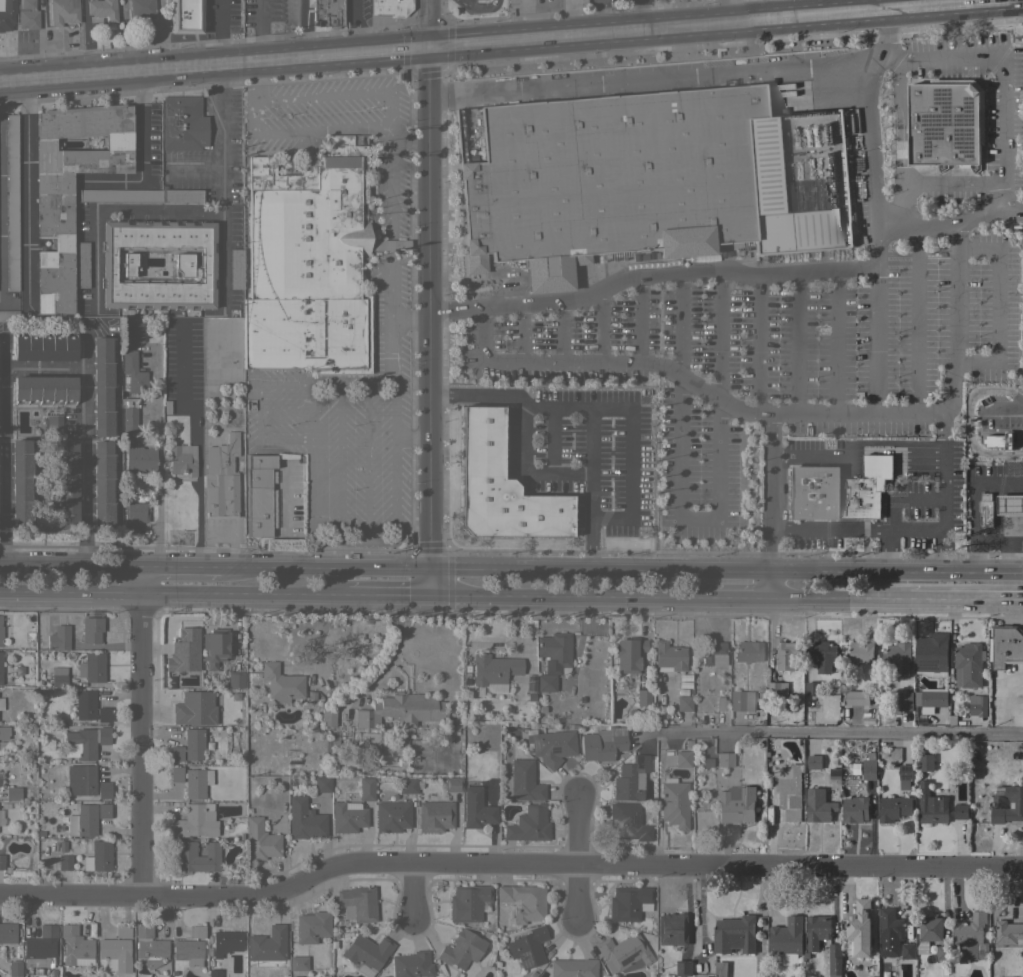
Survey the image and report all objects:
road: (890, 1)
road: (771, 5)
building: (390, 7)
road: (720, 7)
building: (102, 9)
building: (141, 9)
building: (62, 12)
building: (327, 12)
building: (7, 14)
building: (27, 14)
road: (719, 15)
building: (186, 16)
road: (356, 21)
road: (300, 23)
road: (263, 25)
road: (219, 27)
road: (500, 31)
traffic signals: (432, 36)
road: (366, 41)
road: (150, 59)
road: (1002, 73)
road: (255, 76)
road: (654, 79)
road: (391, 97)
road: (220, 112)
building: (183, 123)
building: (945, 123)
road: (307, 128)
road: (410, 142)
road: (901, 144)
road: (139, 151)
road: (193, 170)
building: (607, 179)
road: (954, 182)
road: (26, 186)
building: (70, 187)
building: (180, 194)
building: (118, 195)
building: (780, 200)
building: (11, 203)
road: (108, 211)
rooftop solar panel: (131, 222)
rooftop solar panel: (146, 222)
rooftop solar panel: (161, 223)
rooftop solar panel: (179, 223)
rooftop solar panel: (199, 223)
road: (950, 223)
road: (221, 235)
road: (389, 244)
building: (309, 262)
building: (81, 264)
building: (109, 264)
building: (236, 268)
road: (781, 274)
road: (430, 283)
road: (390, 284)
road: (13, 302)
road: (999, 307)
building: (9, 315)
road: (638, 318)
road: (410, 319)
road: (915, 321)
road: (678, 325)
road: (600, 326)
building: (132, 331)
road: (560, 331)
road: (521, 332)
parking lot: (388, 333)
road: (720, 336)
road: (876, 339)
road: (835, 342)
road: (798, 343)
road: (758, 344)
building: (44, 348)
road: (391, 350)
road: (955, 362)
road: (43, 369)
building: (133, 372)
road: (687, 382)
road: (326, 383)
building: (101, 386)
building: (44, 388)
road: (392, 390)
road: (473, 395)
road: (996, 406)
road: (1022, 406)
road: (313, 410)
road: (258, 411)
road: (286, 411)
building: (129, 415)
road: (632, 423)
building: (53, 424)
road: (411, 437)
road: (554, 440)
building: (992, 440)
road: (198, 441)
road: (84, 448)
road: (2, 449)
road: (901, 451)
road: (158, 453)
road: (974, 454)
road: (815, 455)
building: (139, 459)
building: (182, 459)
road: (367, 461)
road: (340, 462)
road: (590, 462)
road: (393, 464)
road: (524, 467)
road: (1012, 471)
building: (221, 478)
building: (21, 483)
building: (67, 484)
building: (102, 485)
road: (997, 485)
road: (314, 486)
building: (500, 486)
building: (837, 490)
building: (259, 494)
road: (900, 501)
road: (767, 505)
building: (997, 507)
road: (972, 514)
road: (945, 515)
building: (133, 516)
road: (685, 517)
road: (827, 529)
road: (384, 541)
road: (591, 543)
road: (989, 543)
road: (946, 550)
road: (888, 551)
road: (70, 564)
road: (148, 565)
road: (187, 565)
road: (324, 566)
traffic signals: (429, 567)
road: (726, 569)
road: (140, 581)
road: (428, 581)
road: (373, 594)
road: (70, 595)
road: (243, 595)
road: (414, 595)
traffic signals: (428, 595)
road: (570, 596)
road: (739, 599)
road: (836, 600)
road: (964, 601)
building: (0, 629)
building: (91, 629)
building: (58, 637)
building: (1005, 645)
building: (214, 646)
building: (183, 650)
road: (394, 650)
building: (748, 651)
building: (861, 651)
building: (555, 652)
building: (714, 653)
building: (628, 654)
building: (931, 654)
building: (785, 655)
building: (668, 656)
building: (822, 656)
building: (897, 657)
rooftop solar panel: (927, 663)
building: (0, 665)
building: (968, 665)
building: (91, 666)
building: (493, 668)
building: (58, 676)
building: (546, 682)
building: (281, 683)
building: (777, 688)
building: (812, 689)
building: (643, 697)
building: (857, 698)
building: (930, 699)
building: (741, 700)
building: (683, 701)
building: (905, 701)
building: (1, 703)
building: (721, 703)
building: (89, 706)
building: (977, 706)
building: (193, 708)
building: (400, 709)
building: (327, 717)
building: (4, 736)
road: (789, 740)
building: (85, 741)
building: (194, 743)
building: (602, 743)
road: (142, 744)
rooftop solar panel: (534, 746)
building: (552, 747)
rooftop solar panel: (553, 750)
building: (176, 752)
building: (682, 758)
building: (725, 759)
building: (813, 762)
building: (926, 762)
rooftop solar panel: (906, 768)
building: (869, 769)
building: (176, 774)
building: (905, 776)
building: (1, 778)
building: (631, 778)
rooftop solar panel: (906, 778)
building: (81, 780)
building: (197, 782)
building: (522, 782)
building: (322, 784)
building: (452, 784)
building: (407, 785)
building: (366, 788)
building: (103, 789)
building: (788, 790)
building: (12, 792)
building: (674, 803)
building: (736, 805)
building: (818, 805)
building: (931, 805)
building: (1009, 806)
building: (476, 809)
building: (855, 809)
building: (893, 809)
building: (961, 811)
building: (392, 815)
building: (434, 815)
building: (347, 816)
building: (1, 817)
building: (86, 818)
rooftop solar panel: (636, 818)
building: (304, 819)
building: (195, 821)
building: (627, 822)
building: (528, 824)
building: (260, 840)
building: (98, 856)
building: (196, 856)
road: (576, 859)
building: (1, 861)
building: (63, 861)
road: (508, 864)
road: (411, 887)
building: (524, 901)
building: (468, 902)
building: (628, 902)
building: (357, 903)
building: (312, 926)
building: (672, 929)
building: (48, 930)
building: (859, 930)
building: (122, 931)
building: (196, 931)
building: (817, 931)
building: (890, 932)
building: (928, 933)
building: (1008, 933)
building: (7, 934)
building: (734, 935)
building: (971, 938)
building: (786, 941)
building: (225, 942)
building: (267, 944)
building: (74, 945)
building: (149, 946)
building: (528, 946)
building: (461, 949)
building: (36, 950)
building: (188, 951)
building: (623, 951)
building: (908, 951)
building: (115, 953)
building: (366, 953)
building: (944, 953)
rooftop solar panel: (627, 958)
building: (834, 960)
building: (297, 963)
building: (411, 964)
building: (573, 967)
building: (14, 968)
building: (684, 968)
building: (720, 969)
building: (213, 973)

